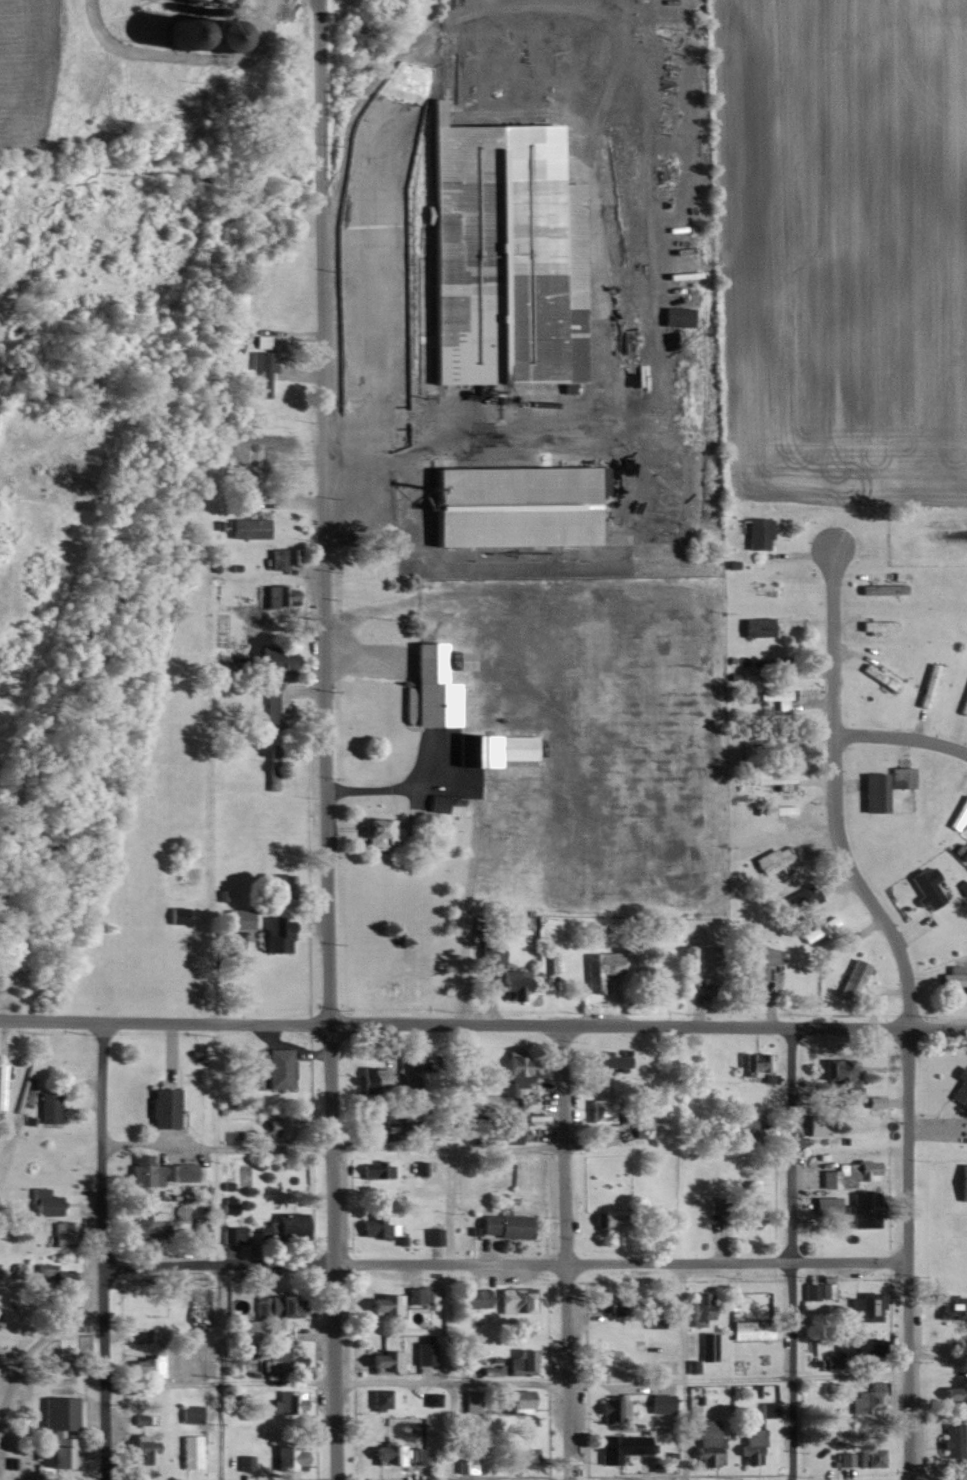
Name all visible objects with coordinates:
building: (209, 0)
road: (182, 61)
road: (316, 153)
building: (498, 255)
building: (675, 316)
building: (260, 340)
building: (261, 370)
road: (466, 436)
building: (271, 440)
building: (511, 505)
building: (246, 527)
building: (755, 532)
building: (279, 557)
building: (880, 587)
building: (278, 595)
building: (754, 626)
building: (874, 626)
building: (270, 660)
building: (430, 684)
building: (772, 698)
building: (272, 702)
road: (901, 740)
building: (493, 749)
building: (898, 776)
building: (870, 792)
building: (436, 803)
building: (957, 813)
building: (375, 832)
road: (474, 835)
building: (771, 861)
building: (279, 886)
building: (923, 886)
road: (325, 893)
building: (807, 898)
building: (173, 915)
building: (234, 918)
building: (817, 928)
building: (275, 933)
building: (488, 953)
building: (758, 965)
road: (210, 966)
building: (596, 968)
building: (953, 977)
building: (852, 978)
building: (510, 983)
road: (904, 1005)
road: (3, 1019)
road: (486, 1027)
building: (606, 1060)
building: (753, 1063)
building: (276, 1068)
building: (596, 1073)
building: (837, 1073)
building: (512, 1075)
building: (376, 1081)
building: (2, 1085)
building: (959, 1086)
building: (45, 1107)
building: (159, 1108)
building: (595, 1110)
building: (377, 1121)
building: (746, 1124)
building: (641, 1128)
building: (812, 1130)
building: (507, 1134)
road: (216, 1144)
road: (447, 1147)
building: (161, 1170)
building: (373, 1170)
building: (847, 1174)
building: (961, 1182)
building: (42, 1201)
building: (749, 1202)
building: (829, 1205)
building: (862, 1213)
building: (602, 1220)
building: (285, 1223)
building: (140, 1224)
building: (501, 1224)
building: (373, 1225)
building: (61, 1232)
building: (198, 1233)
building: (227, 1234)
building: (431, 1235)
road: (103, 1251)
road: (567, 1253)
road: (787, 1253)
road: (506, 1263)
building: (54, 1275)
building: (412, 1294)
building: (479, 1296)
building: (513, 1299)
building: (389, 1303)
building: (600, 1303)
building: (273, 1304)
building: (951, 1304)
building: (862, 1305)
building: (699, 1307)
building: (651, 1320)
building: (241, 1324)
building: (748, 1329)
road: (27, 1337)
building: (708, 1345)
building: (860, 1350)
building: (421, 1352)
building: (519, 1361)
building: (143, 1365)
building: (602, 1365)
building: (690, 1365)
road: (681, 1371)
road: (218, 1372)
road: (505, 1383)
building: (949, 1393)
building: (381, 1398)
building: (515, 1399)
building: (867, 1399)
building: (287, 1400)
building: (469, 1400)
building: (613, 1407)
building: (765, 1408)
building: (187, 1412)
building: (57, 1431)
road: (452, 1431)
building: (703, 1440)
building: (621, 1445)
building: (749, 1446)
building: (952, 1447)
building: (140, 1450)
building: (187, 1450)
building: (395, 1453)
building: (519, 1456)
building: (869, 1456)
building: (287, 1457)
building: (843, 1457)
building: (243, 1462)
building: (463, 1464)

